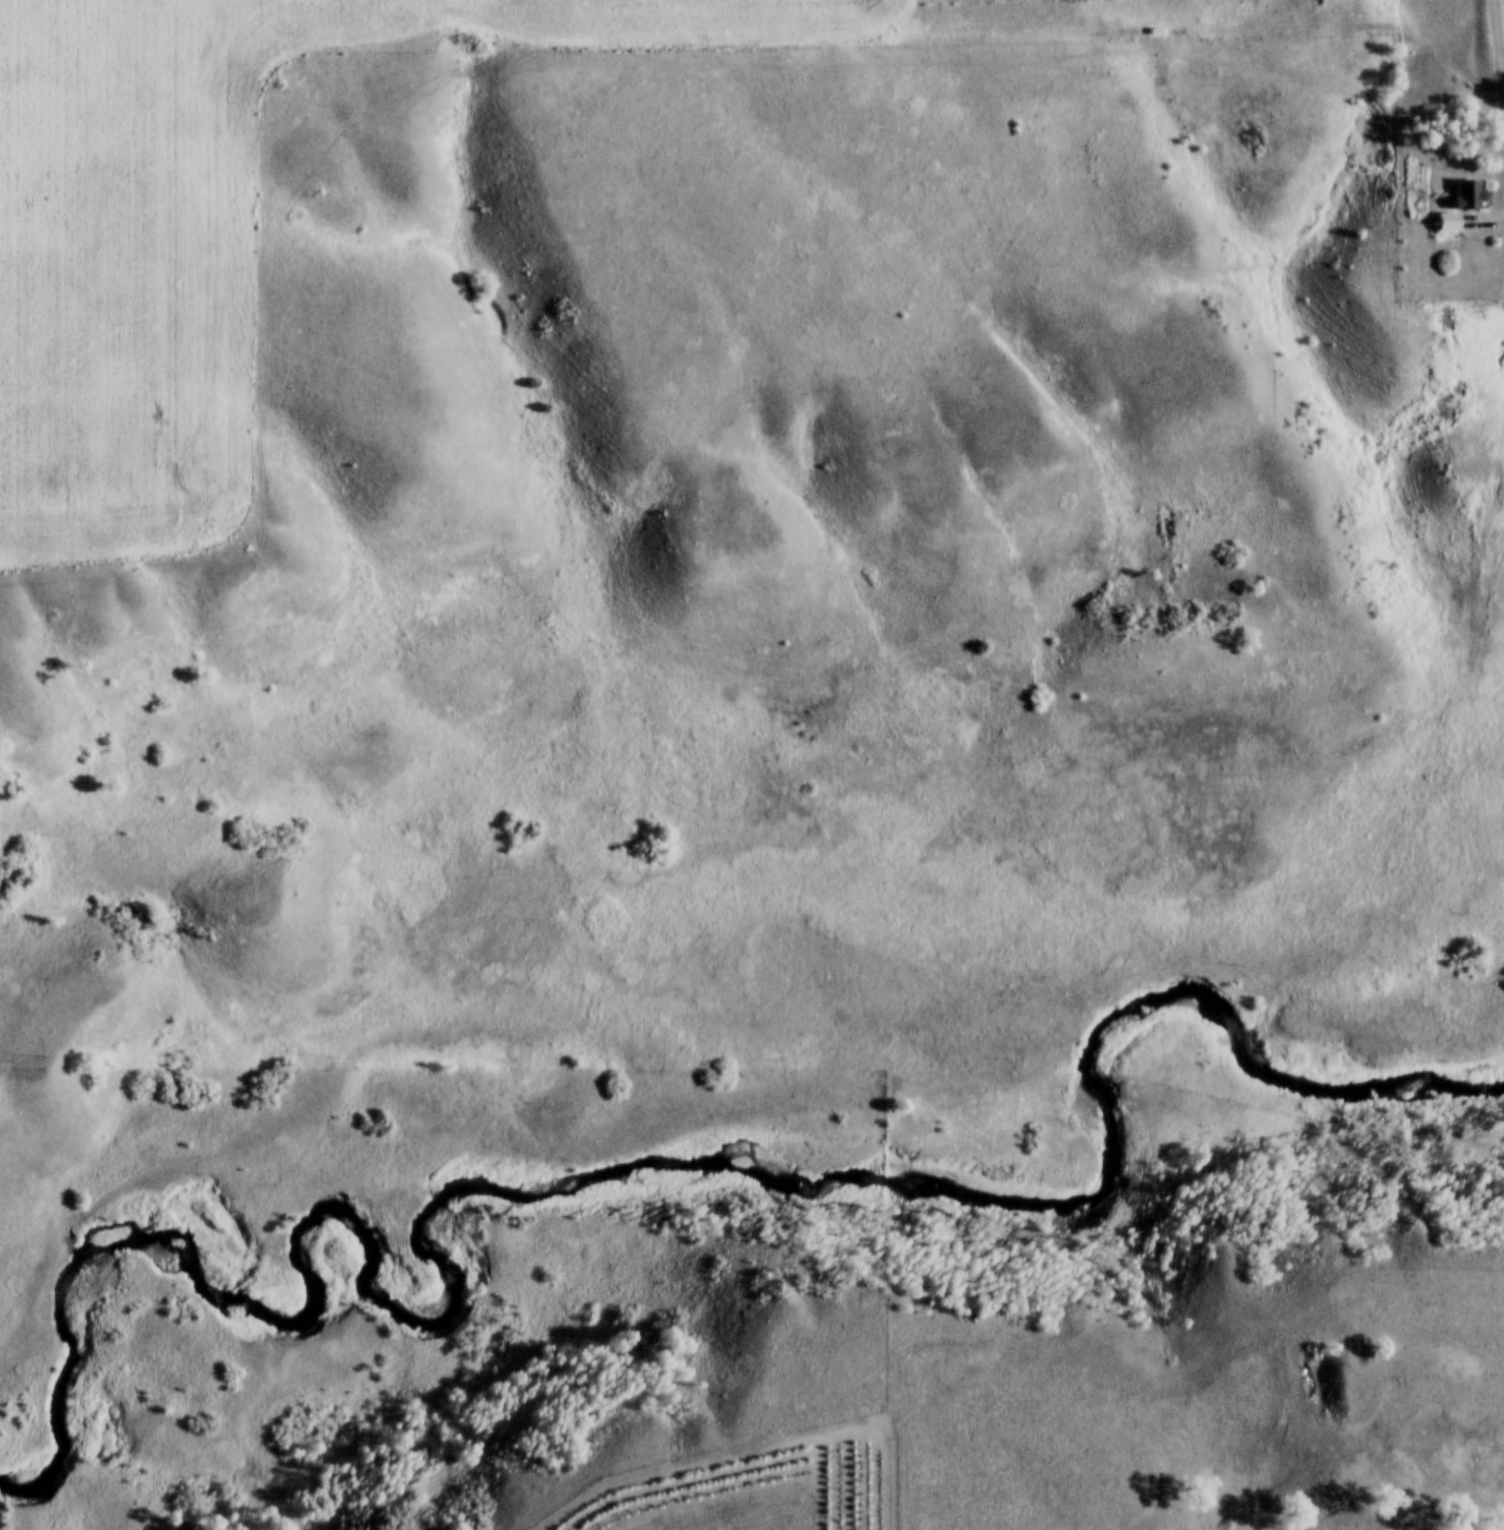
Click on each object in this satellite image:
road: (1499, 44)
building: (1467, 196)
building: (1446, 224)

